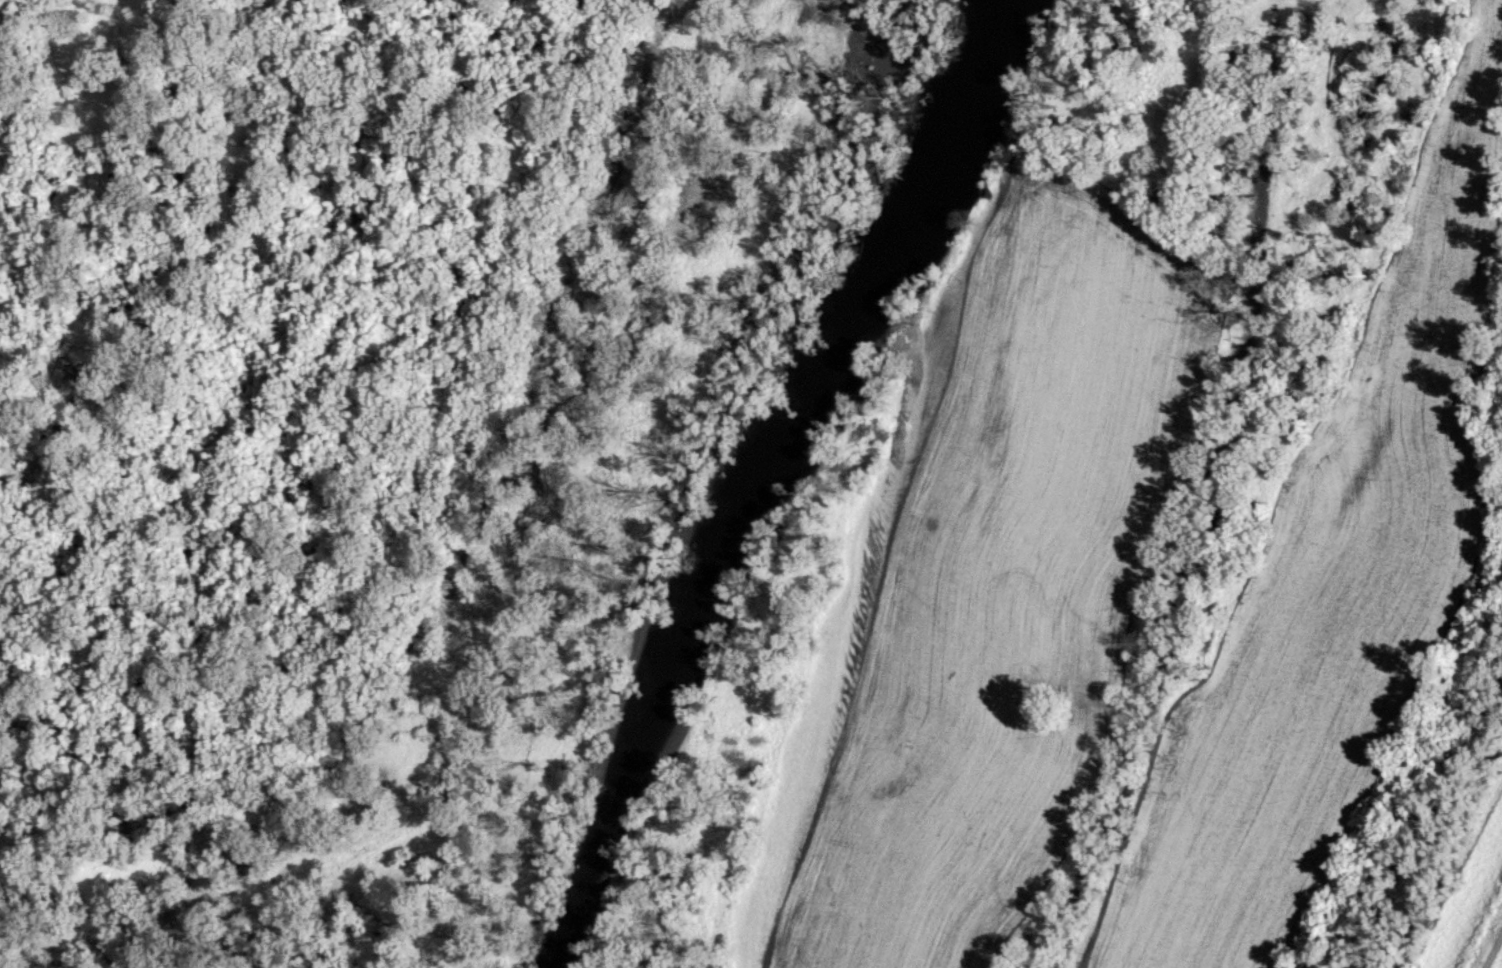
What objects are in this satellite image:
road: (1493, 951)

